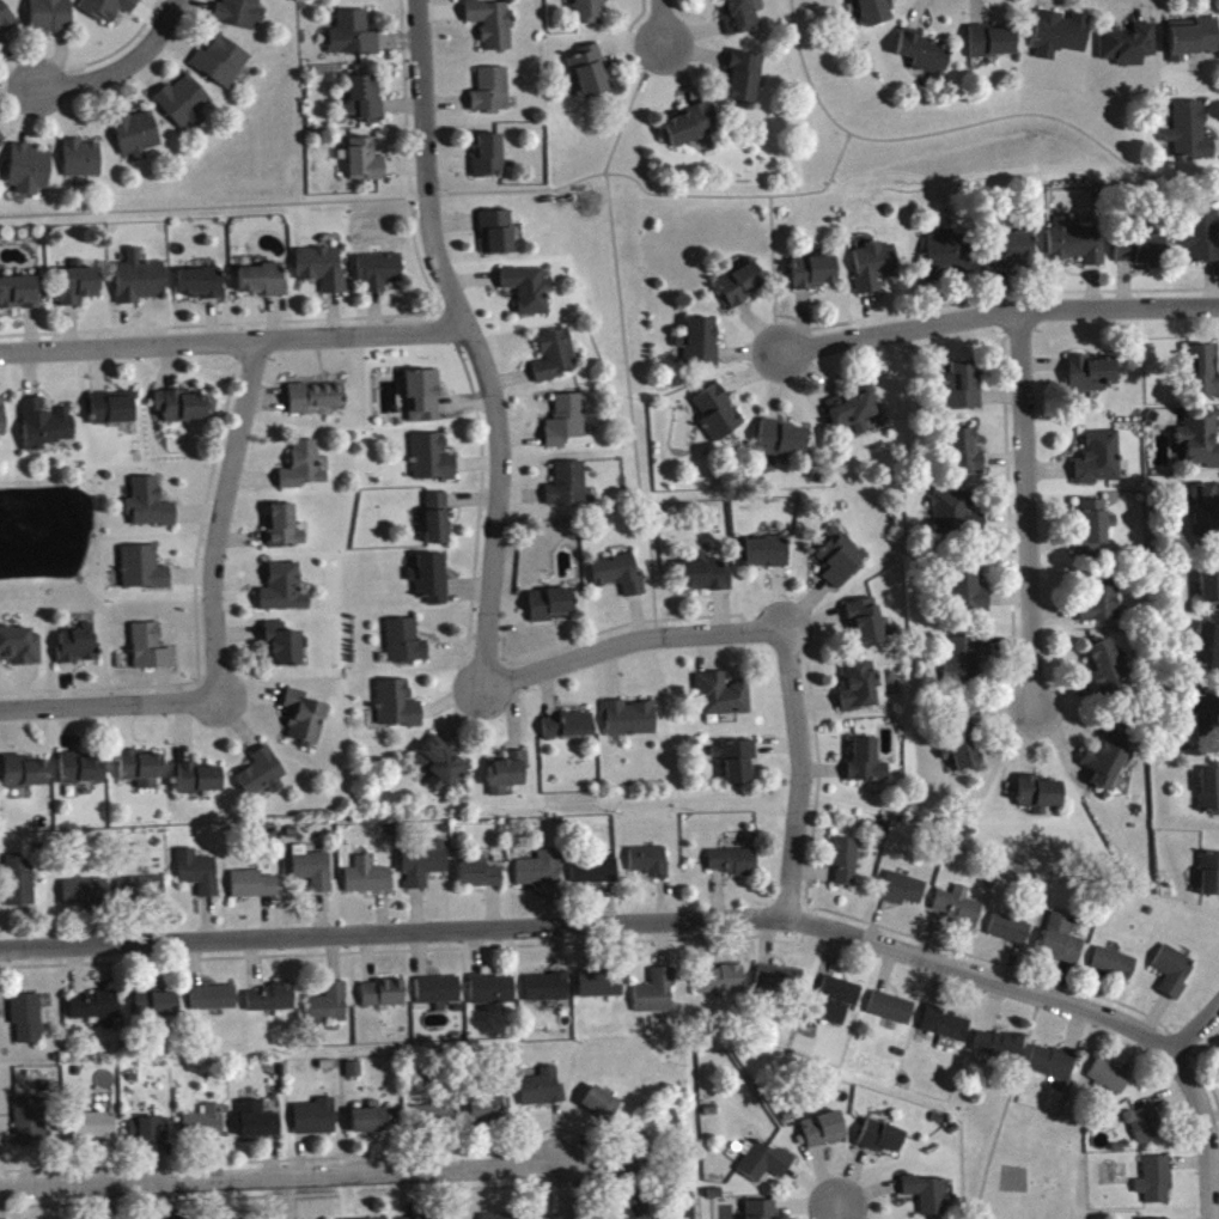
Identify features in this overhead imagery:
building: (110, 11)
building: (591, 14)
building: (874, 14)
building: (242, 17)
building: (50, 18)
building: (739, 19)
road: (660, 20)
building: (6, 25)
building: (493, 29)
building: (1061, 39)
building: (354, 41)
building: (1194, 45)
building: (991, 48)
building: (1128, 50)
building: (924, 59)
road: (117, 66)
building: (221, 68)
road: (804, 72)
building: (591, 79)
building: (744, 83)
road: (16, 89)
building: (492, 97)
building: (362, 106)
building: (184, 108)
building: (690, 132)
building: (1190, 139)
building: (136, 140)
building: (1, 150)
building: (489, 161)
building: (81, 165)
building: (366, 166)
building: (30, 176)
road: (636, 182)
building: (498, 239)
building: (1203, 243)
building: (1075, 249)
building: (1016, 255)
building: (1140, 255)
building: (946, 261)
road: (770, 273)
building: (874, 273)
building: (322, 275)
building: (380, 276)
building: (815, 278)
building: (140, 285)
building: (263, 286)
building: (200, 289)
building: (740, 291)
building: (79, 292)
building: (529, 295)
building: (20, 299)
road: (998, 313)
road: (621, 333)
road: (233, 341)
road: (473, 342)
building: (700, 348)
building: (555, 362)
building: (1200, 376)
building: (1091, 379)
building: (964, 392)
building: (423, 402)
building: (315, 403)
building: (182, 413)
building: (110, 415)
building: (854, 416)
building: (718, 419)
building: (2, 425)
building: (566, 427)
building: (45, 431)
building: (1199, 445)
building: (782, 446)
building: (964, 459)
building: (433, 464)
building: (1099, 464)
building: (304, 473)
building: (568, 490)
building: (150, 511)
road: (1025, 511)
building: (1206, 514)
road: (218, 519)
building: (957, 519)
building: (437, 524)
building: (284, 534)
building: (1093, 535)
building: (764, 559)
building: (840, 565)
building: (144, 574)
building: (618, 580)
building: (431, 584)
building: (1211, 586)
building: (284, 595)
building: (970, 597)
building: (1102, 607)
building: (550, 611)
building: (866, 629)
road: (627, 640)
building: (406, 648)
building: (79, 651)
building: (20, 652)
building: (284, 652)
building: (1208, 653)
building: (151, 654)
building: (968, 663)
building: (1107, 672)
building: (860, 693)
building: (721, 701)
road: (108, 705)
building: (397, 711)
building: (1207, 721)
building: (305, 725)
building: (629, 725)
building: (569, 732)
building: (964, 732)
building: (963, 761)
building: (736, 766)
building: (1108, 766)
building: (867, 768)
building: (441, 770)
road: (798, 772)
building: (81, 775)
building: (141, 775)
building: (25, 779)
building: (507, 779)
building: (262, 782)
building: (199, 785)
building: (1209, 798)
building: (1040, 800)
building: (651, 867)
building: (733, 867)
building: (846, 868)
building: (425, 870)
building: (540, 876)
building: (315, 877)
building: (595, 878)
building: (199, 879)
building: (1209, 880)
building: (481, 882)
building: (367, 883)
building: (20, 886)
building: (254, 891)
building: (141, 895)
building: (903, 896)
building: (85, 897)
building: (959, 913)
road: (597, 922)
building: (1010, 935)
building: (1062, 945)
building: (1115, 969)
building: (1174, 977)
building: (780, 986)
building: (720, 987)
building: (602, 989)
building: (548, 994)
building: (439, 996)
building: (493, 996)
building: (657, 998)
building: (384, 1000)
building: (837, 1004)
building: (214, 1005)
building: (272, 1005)
building: (156, 1010)
building: (330, 1011)
building: (96, 1012)
building: (891, 1014)
building: (28, 1024)
road: (1195, 1026)
building: (946, 1030)
building: (999, 1052)
building: (1053, 1068)
building: (354, 1075)
building: (1109, 1084)
building: (542, 1095)
building: (602, 1110)
building: (488, 1114)
building: (433, 1121)
building: (315, 1124)
building: (374, 1126)
building: (258, 1127)
building: (30, 1128)
building: (205, 1129)
building: (1146, 1130)
road: (1202, 1130)
building: (96, 1134)
building: (148, 1136)
building: (824, 1136)
building: (883, 1144)
building: (639, 1160)
building: (766, 1169)
road: (281, 1180)
building: (1156, 1187)
road: (565, 1194)
building: (931, 1200)
building: (635, 1209)
building: (761, 1213)
road: (837, 1213)

